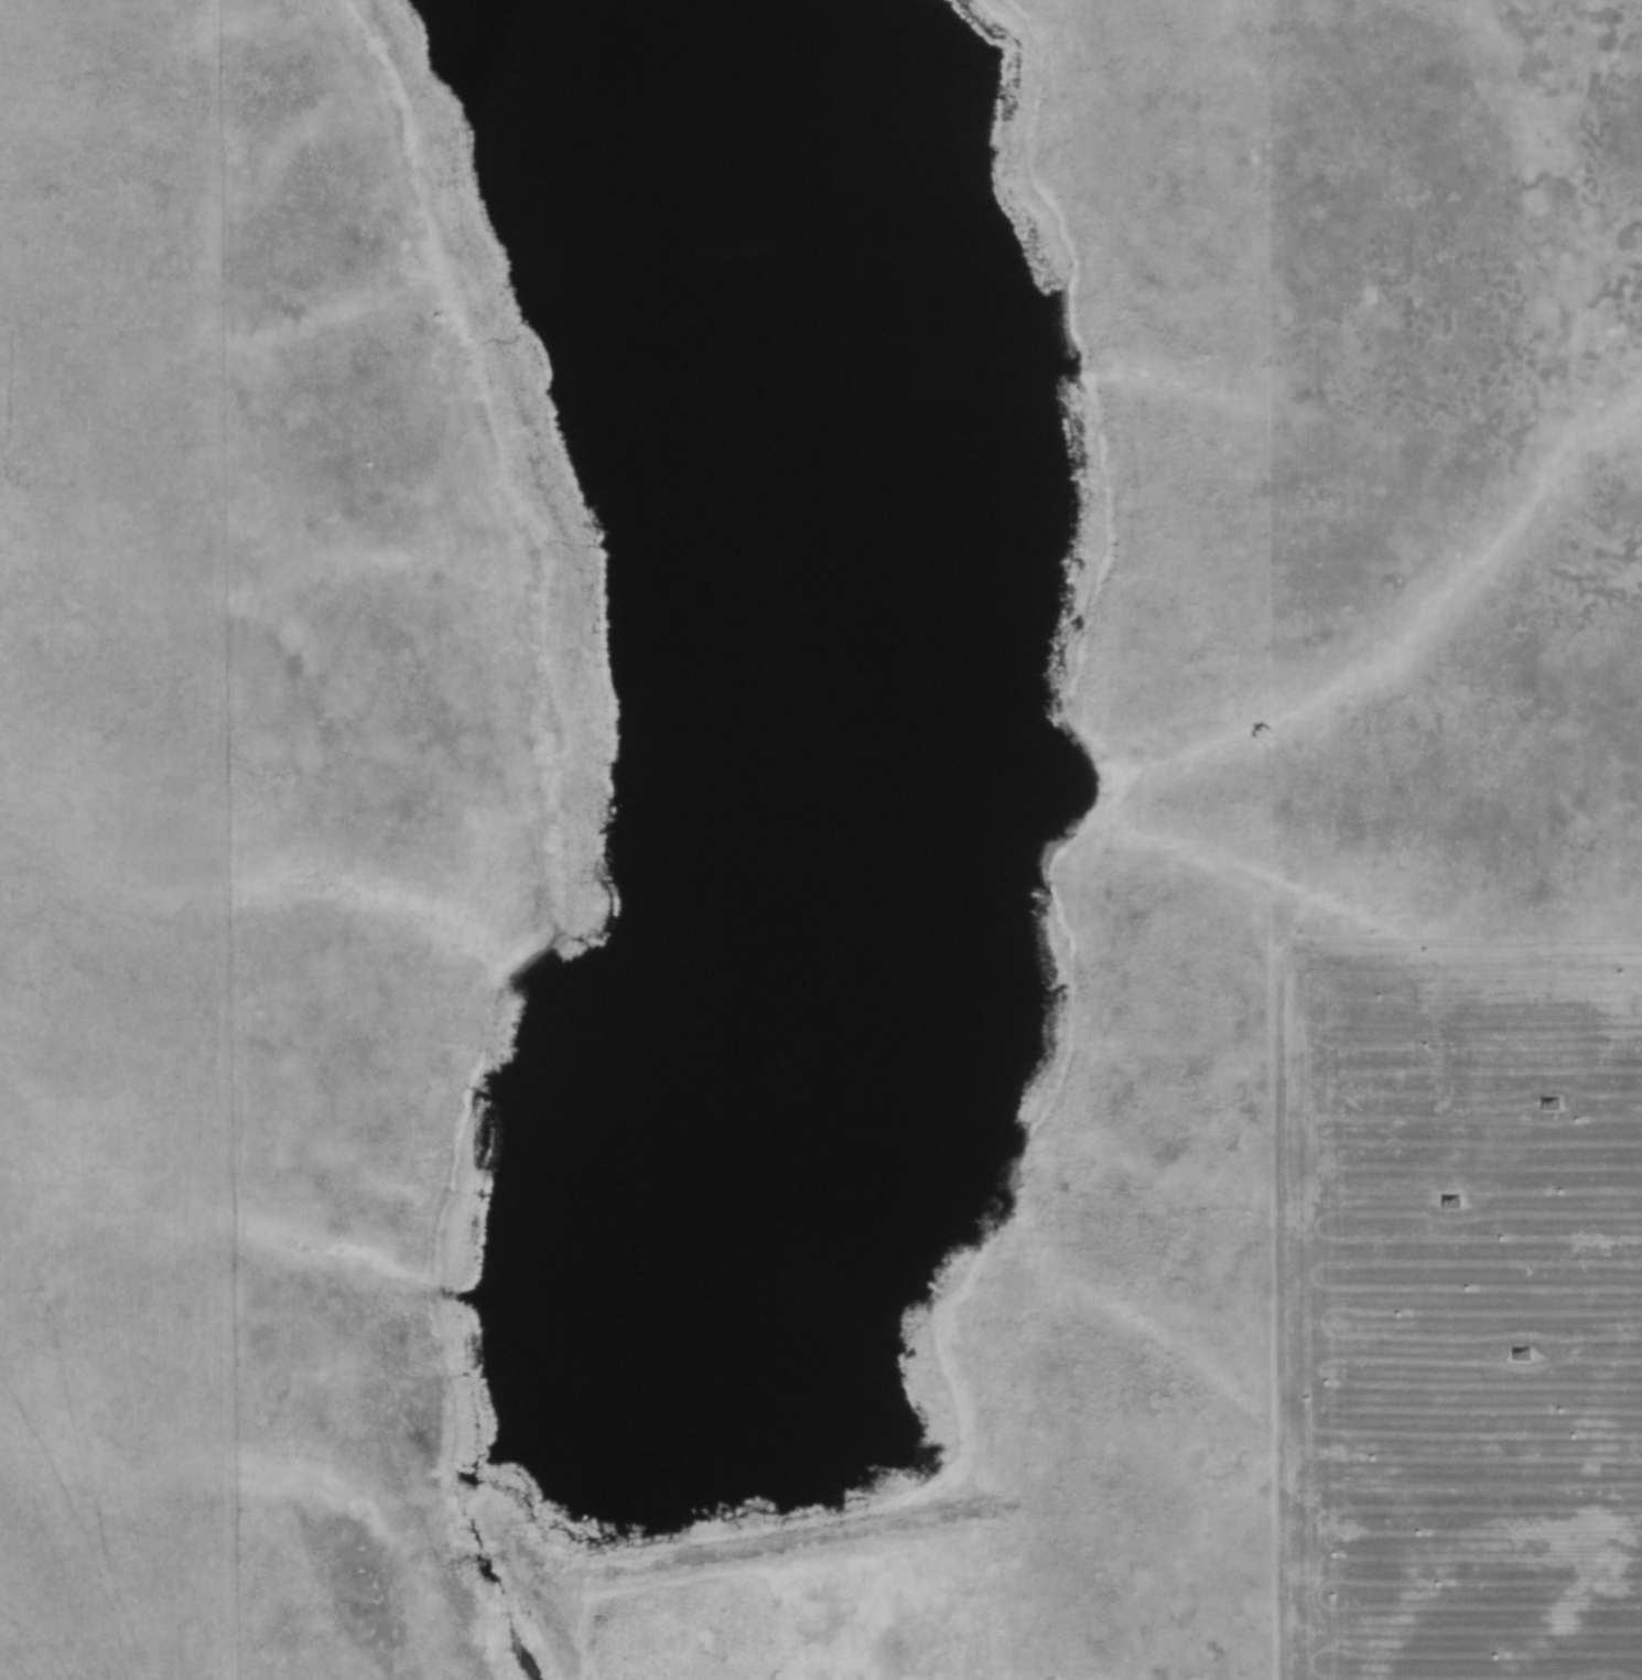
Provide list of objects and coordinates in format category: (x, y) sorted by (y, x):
dam: (746, 1493)

